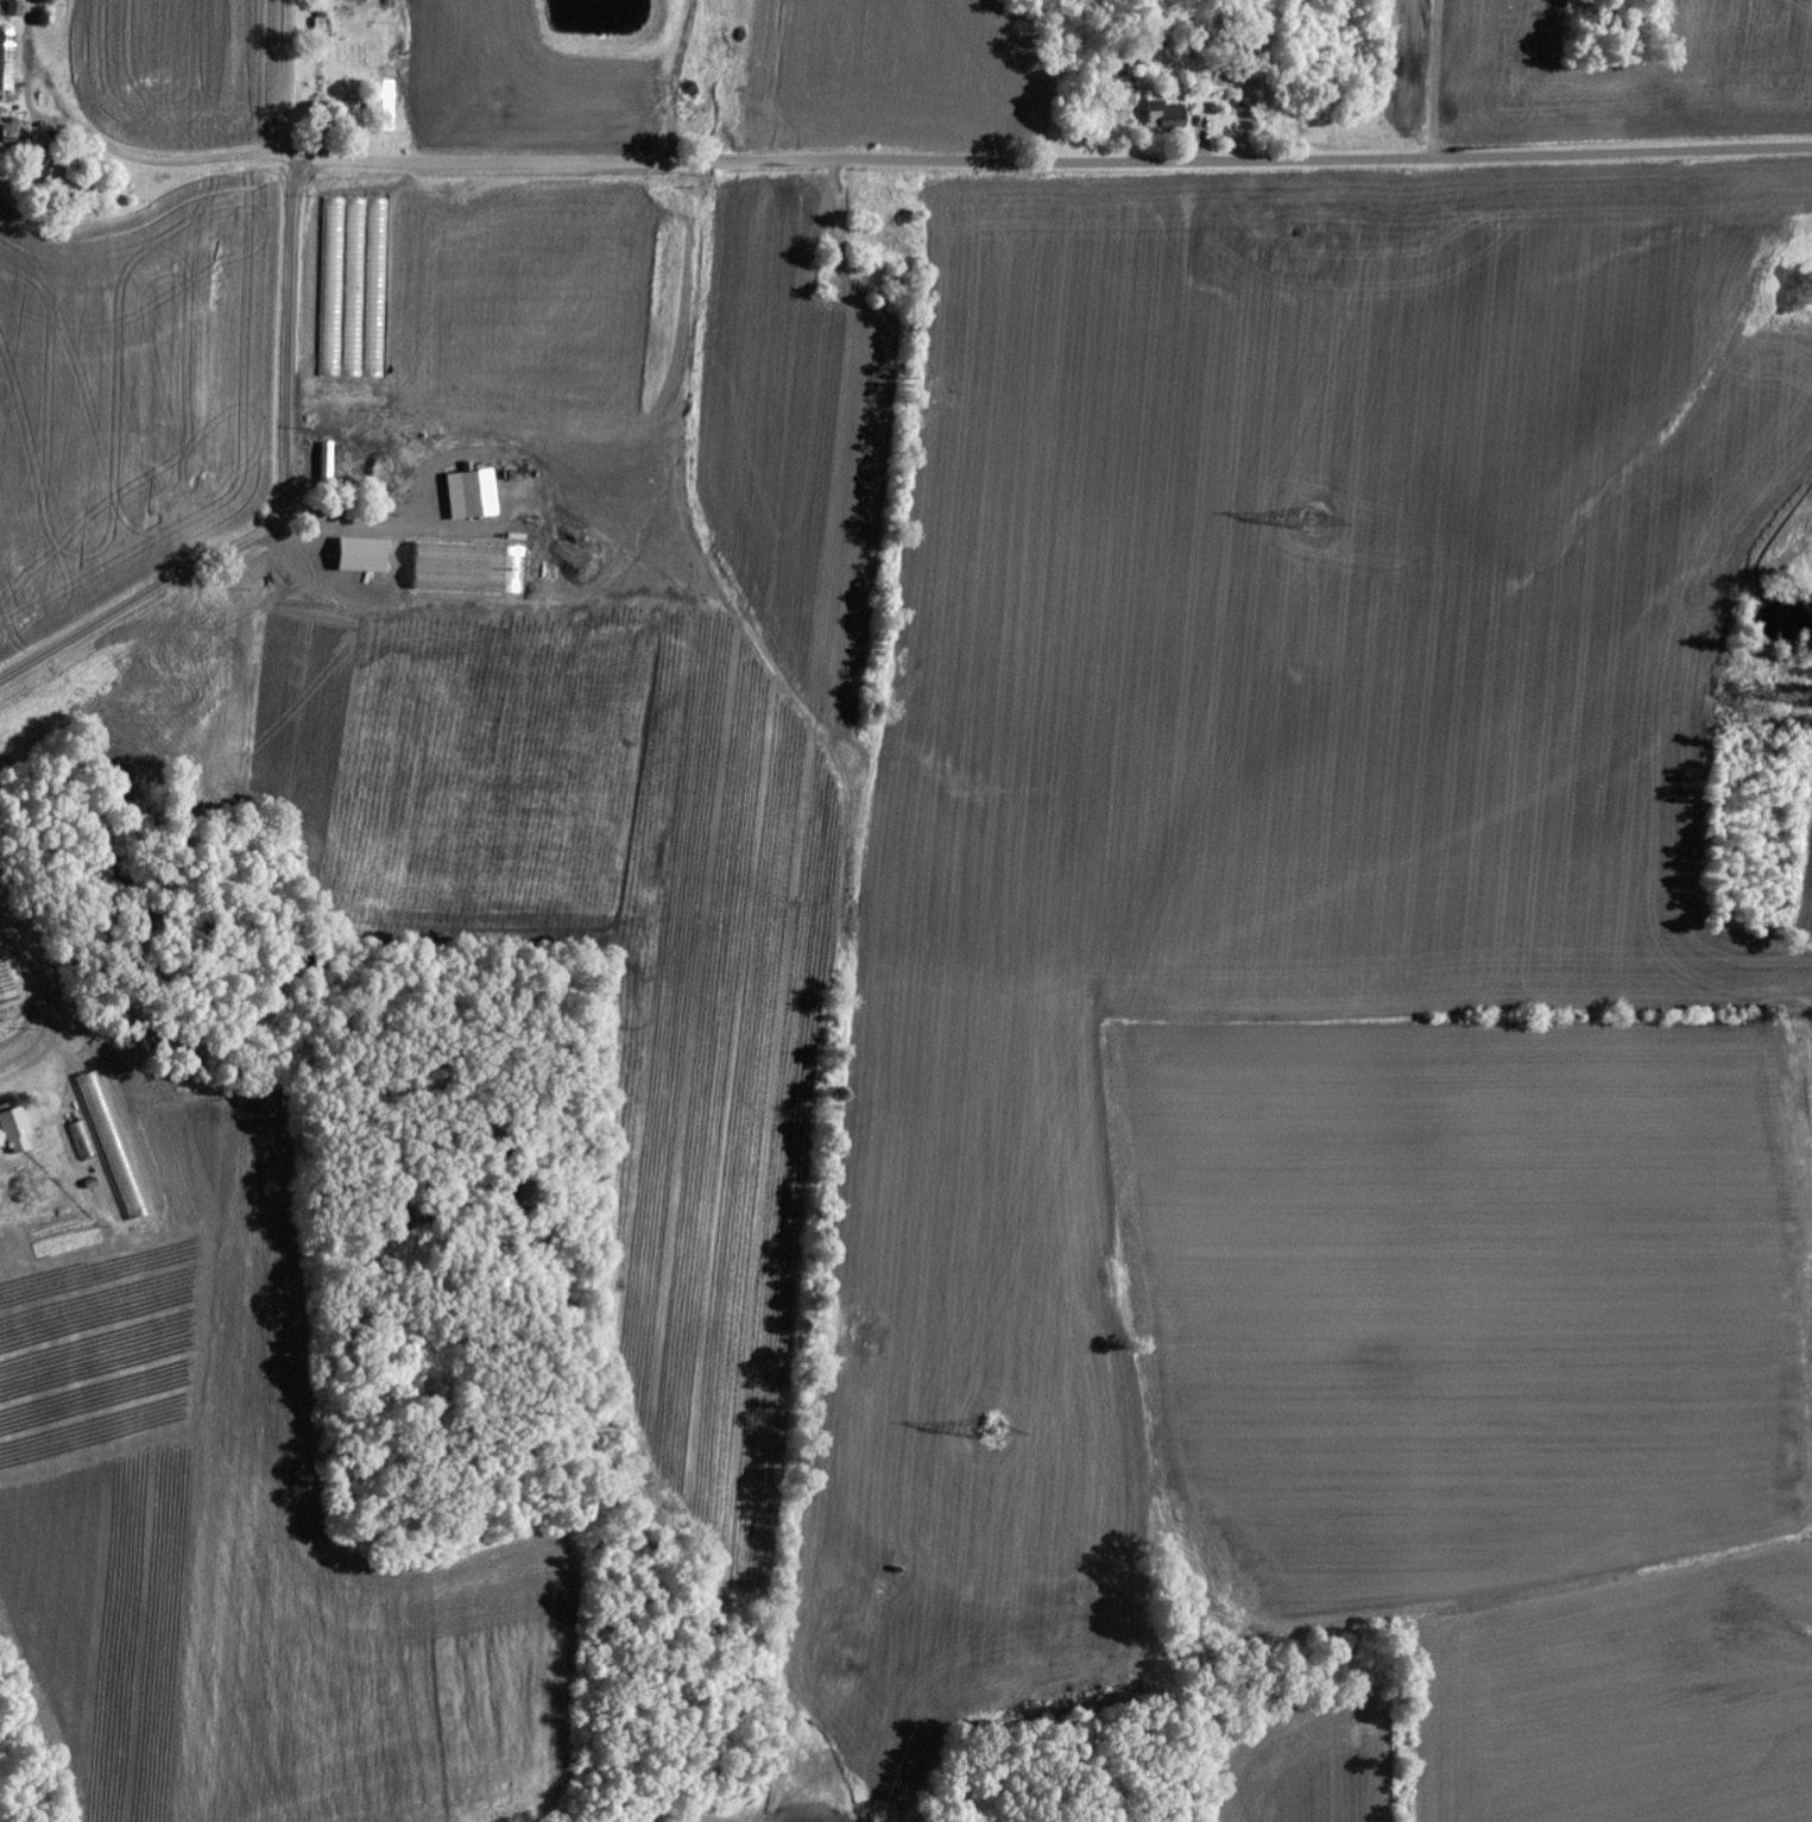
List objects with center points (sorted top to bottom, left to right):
building: (7, 61)
building: (1125, 90)
building: (675, 99)
building: (1168, 116)
building: (12, 128)
road: (720, 162)
building: (475, 496)
power tower: (1308, 513)
power tower: (990, 1436)

